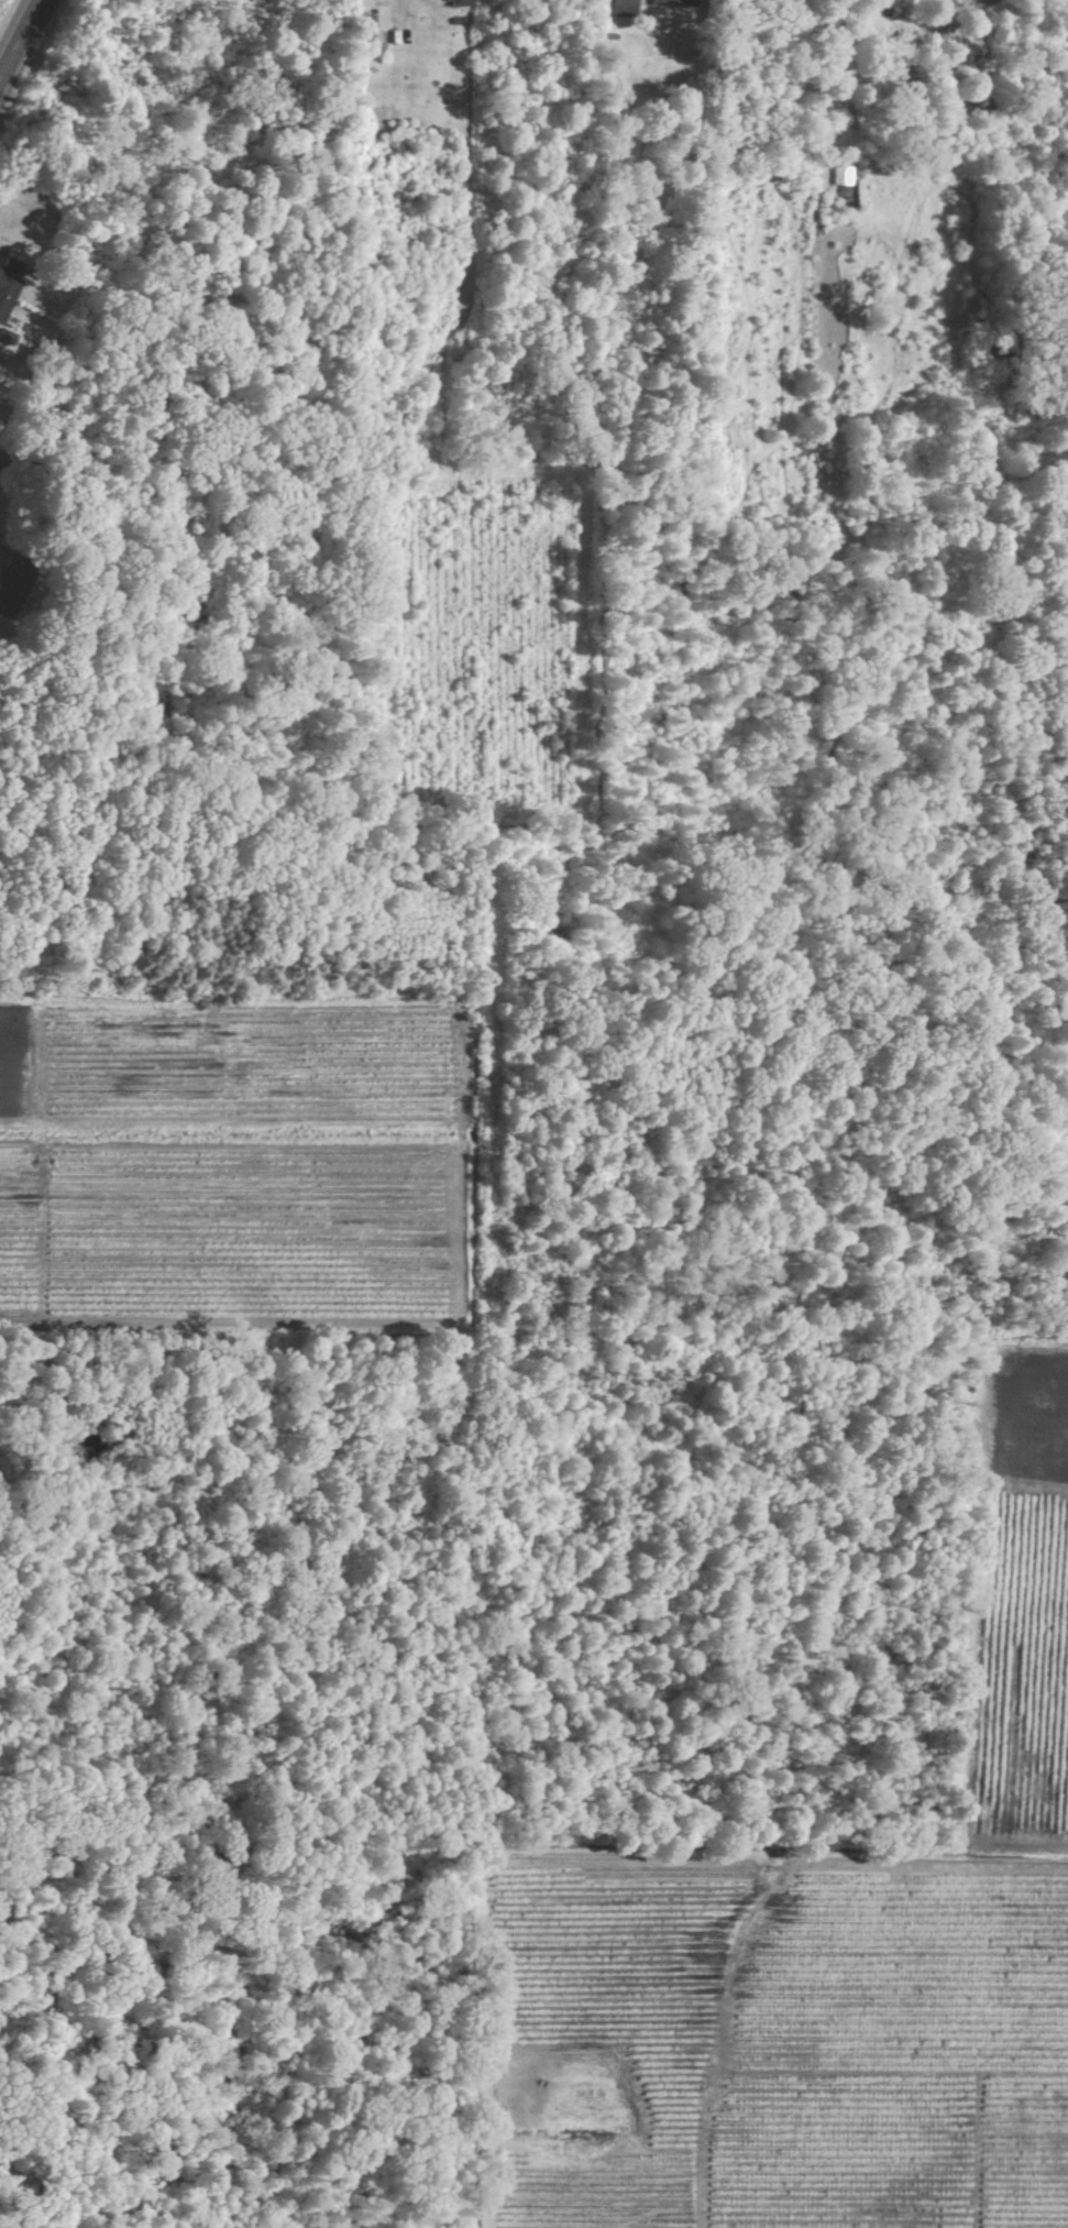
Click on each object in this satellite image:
building: (458, 3)
building: (673, 3)
building: (623, 7)
building: (365, 30)
road: (22, 43)
building: (841, 176)
building: (7, 292)

